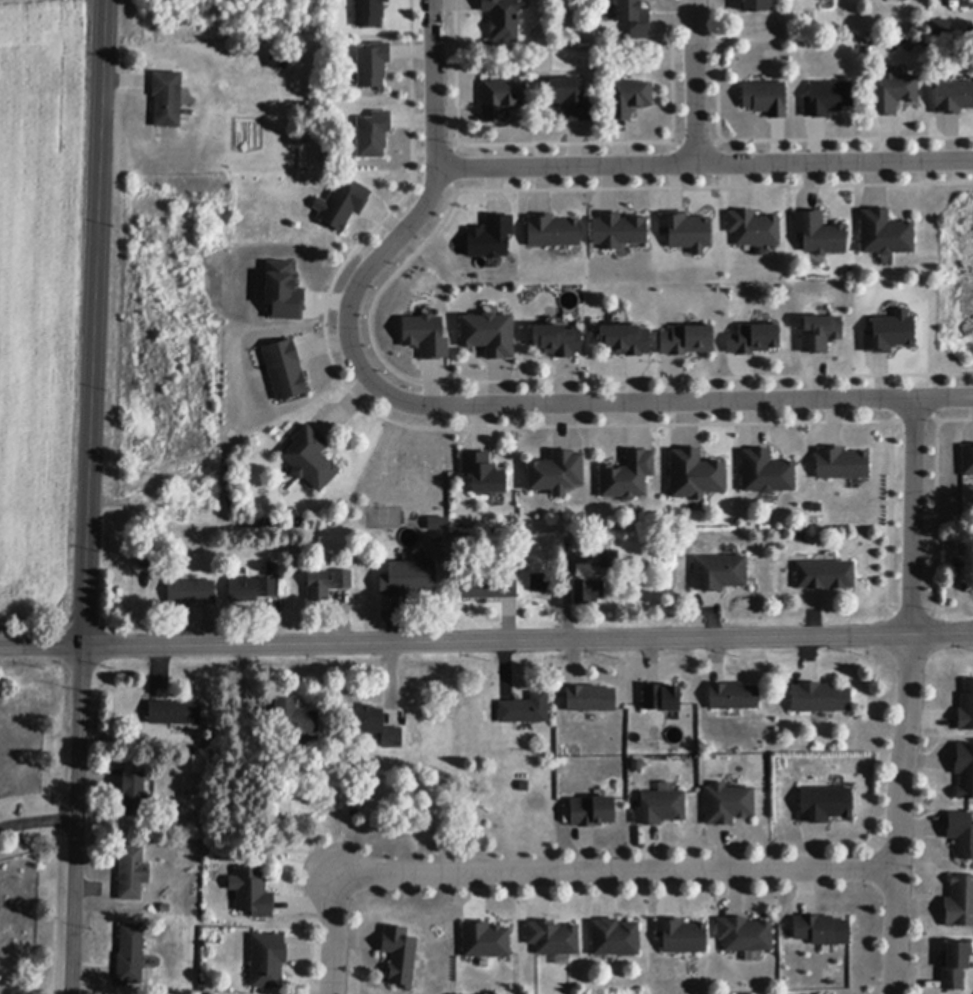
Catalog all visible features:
building: (952, 0)
building: (754, 6)
building: (369, 13)
building: (634, 18)
building: (502, 20)
building: (939, 27)
building: (278, 59)
building: (371, 64)
road: (695, 82)
building: (892, 94)
building: (953, 98)
building: (167, 99)
building: (628, 99)
building: (766, 99)
building: (827, 99)
building: (501, 100)
building: (571, 100)
building: (371, 134)
road: (705, 163)
road: (437, 167)
building: (339, 205)
building: (753, 229)
building: (685, 230)
building: (619, 231)
building: (552, 232)
building: (820, 234)
building: (885, 235)
building: (489, 238)
building: (281, 292)
crop: (42, 304)
building: (889, 332)
building: (819, 334)
building: (424, 335)
building: (489, 335)
building: (753, 340)
building: (557, 341)
building: (625, 341)
building: (686, 341)
building: (283, 371)
road: (626, 404)
building: (310, 459)
building: (966, 459)
building: (842, 464)
building: (766, 473)
building: (484, 474)
building: (557, 474)
building: (695, 475)
building: (628, 477)
road: (88, 496)
building: (435, 522)
building: (151, 558)
building: (609, 560)
building: (719, 573)
building: (825, 576)
building: (408, 580)
building: (538, 582)
building: (327, 584)
building: (488, 587)
building: (250, 590)
building: (191, 592)
building: (588, 592)
road: (486, 642)
building: (734, 697)
road: (907, 697)
building: (591, 699)
building: (662, 699)
building: (820, 699)
building: (966, 708)
building: (525, 710)
building: (175, 714)
building: (297, 720)
building: (377, 727)
building: (964, 771)
building: (133, 794)
building: (728, 805)
building: (825, 805)
building: (660, 808)
building: (592, 812)
road: (38, 822)
building: (961, 834)
road: (614, 873)
building: (133, 874)
building: (253, 894)
building: (959, 903)
building: (822, 931)
road: (333, 935)
building: (745, 935)
building: (682, 937)
building: (553, 938)
building: (615, 938)
building: (485, 941)
building: (130, 957)
building: (399, 957)
building: (268, 961)
building: (955, 966)

